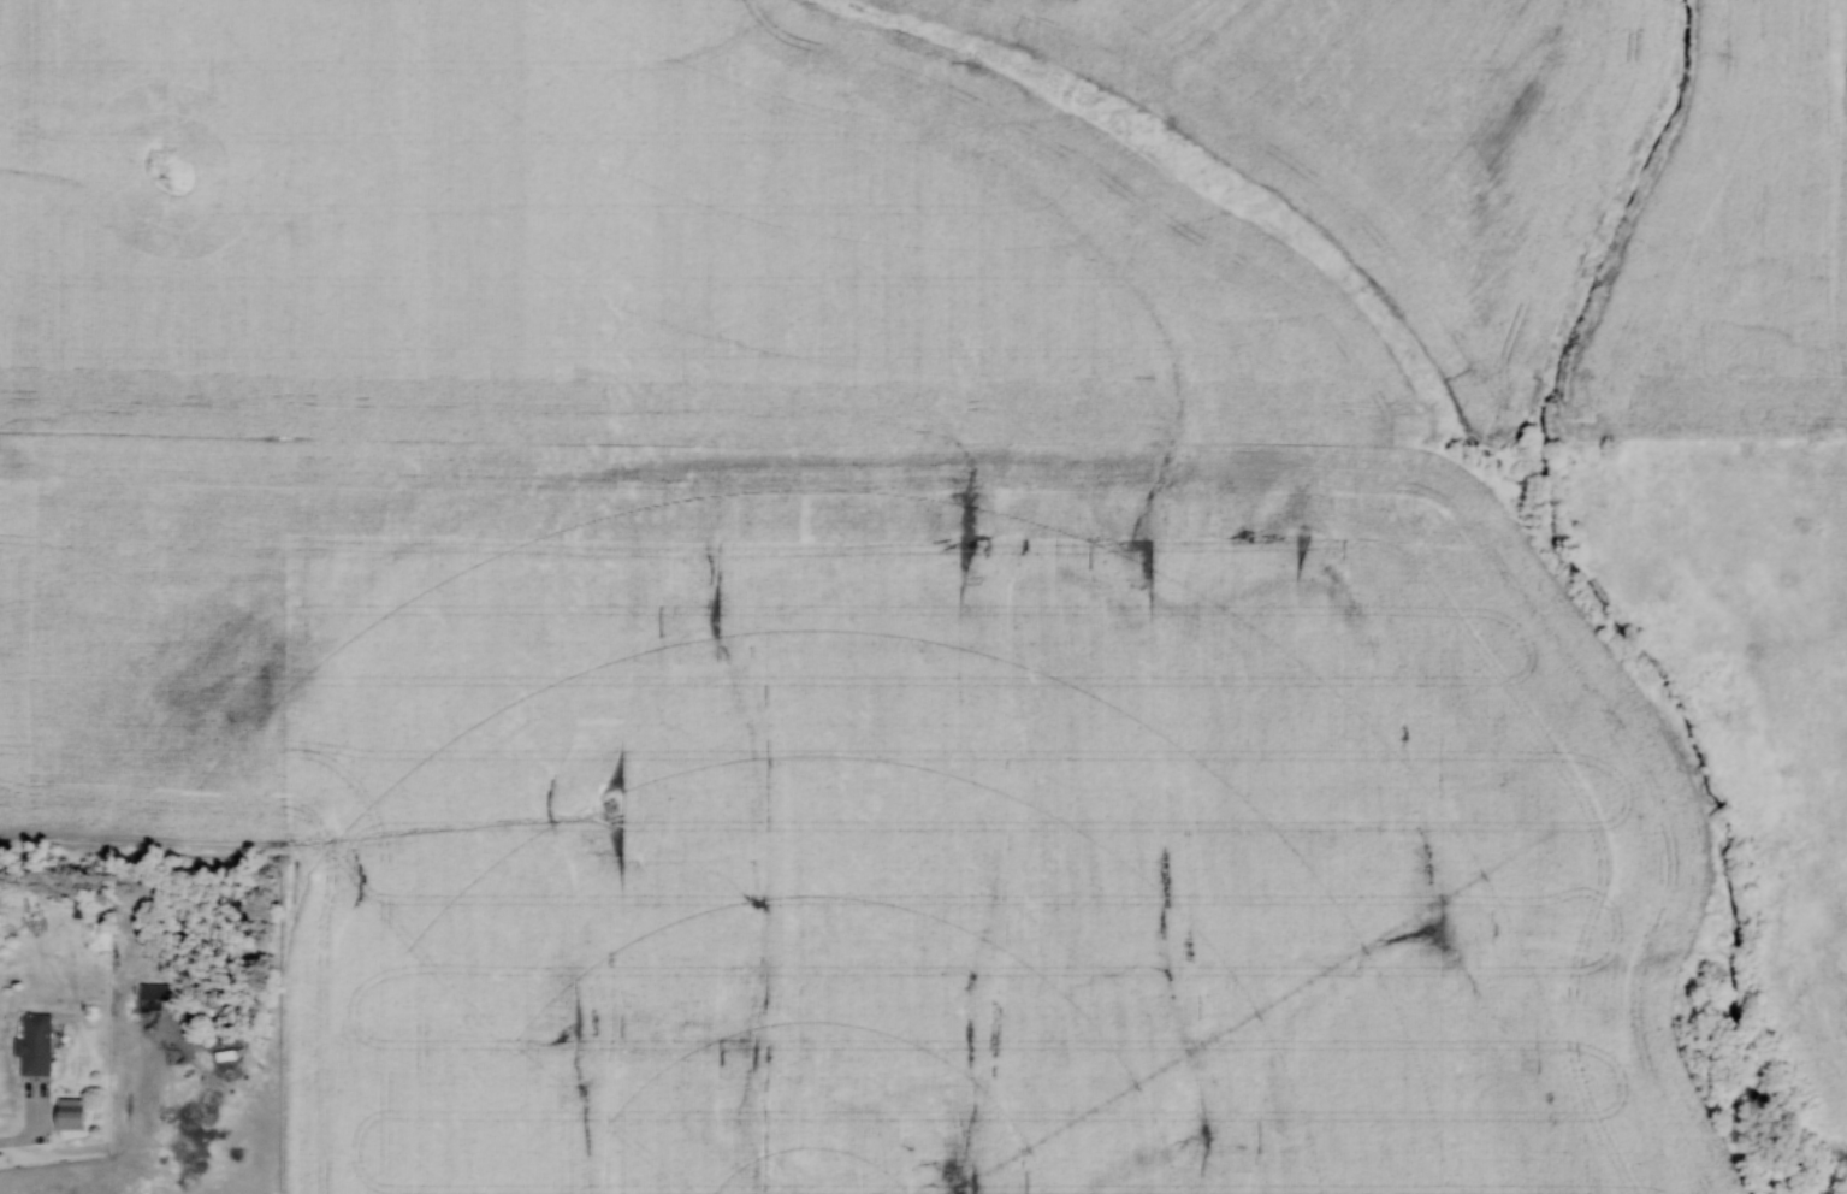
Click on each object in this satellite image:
building: (155, 988)
building: (37, 1042)
building: (72, 1112)
road: (43, 1140)

